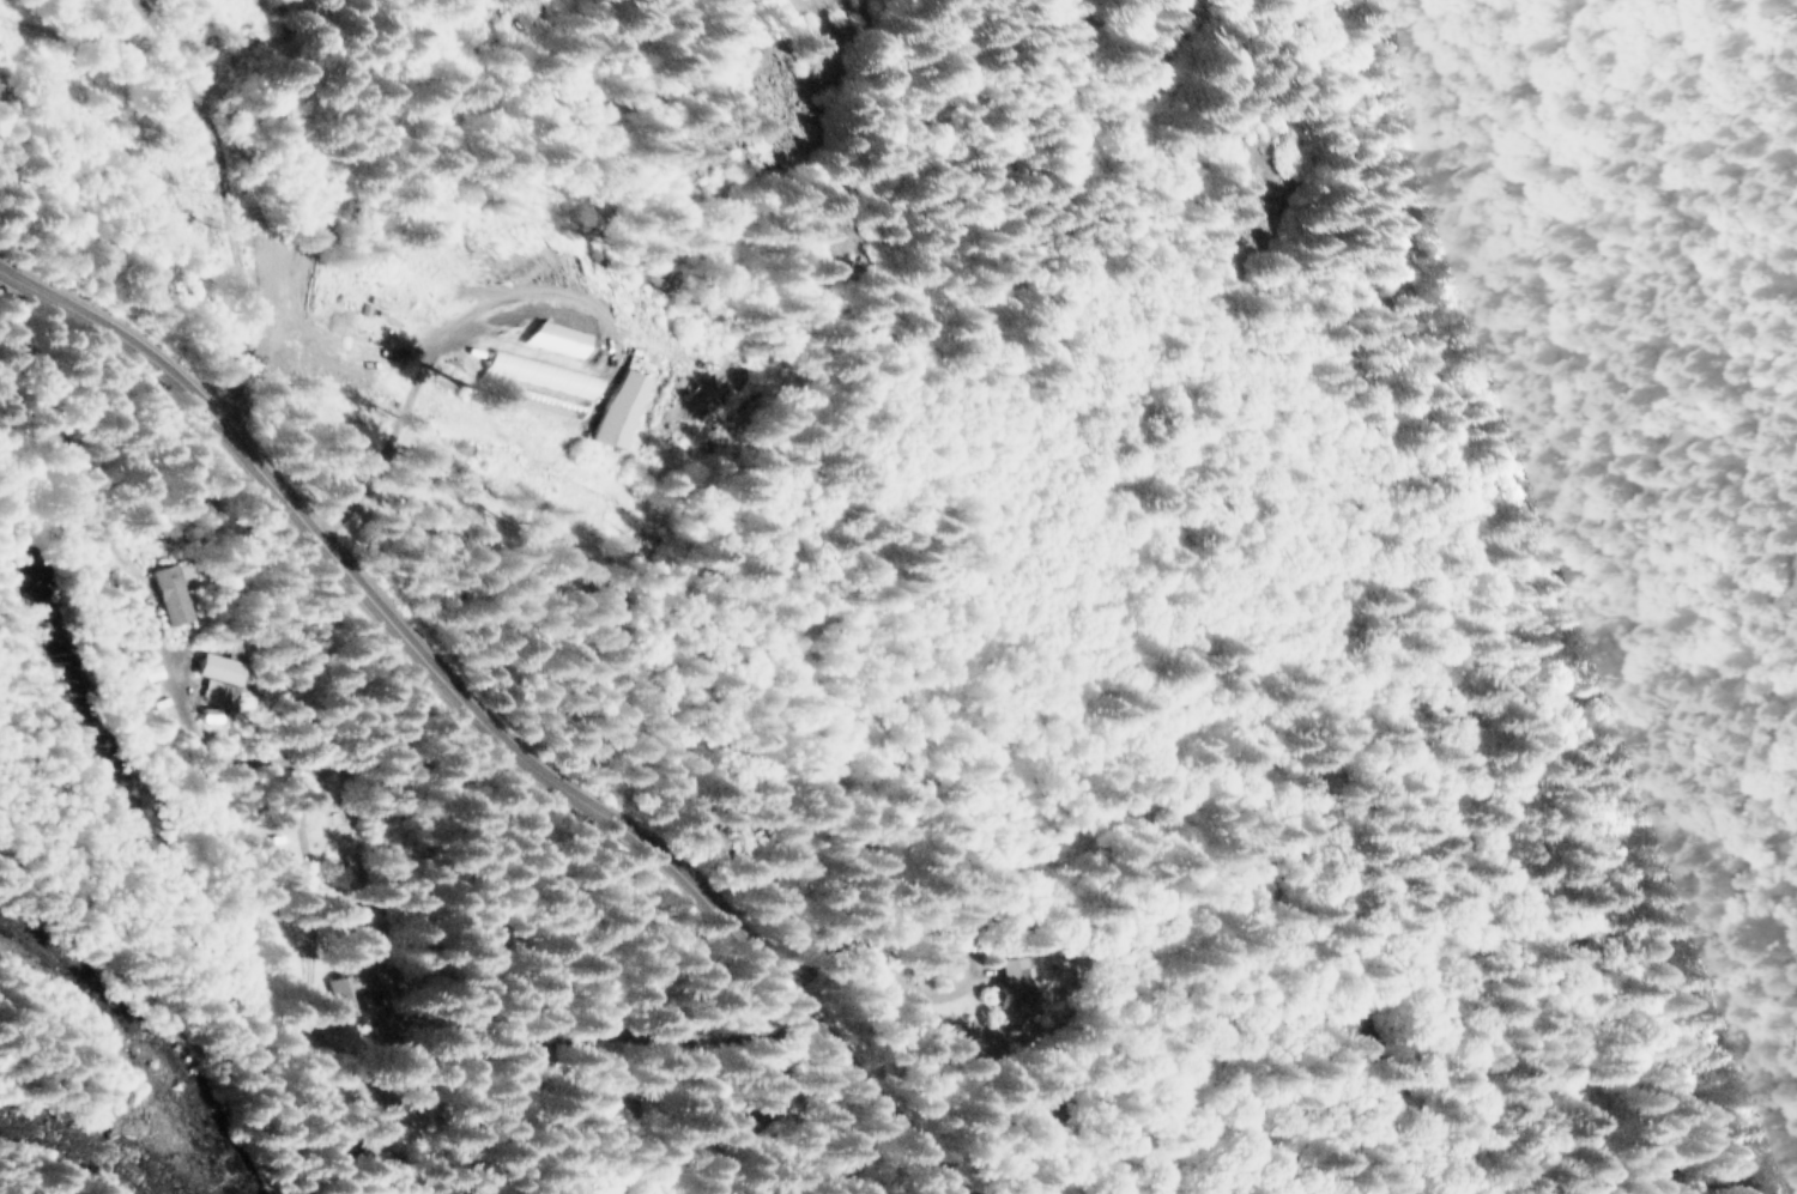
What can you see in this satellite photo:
building: (570, 339)
road: (455, 360)
building: (547, 380)
building: (615, 390)
building: (170, 592)
building: (218, 677)
road: (177, 687)
road: (498, 727)
road: (913, 959)
building: (1048, 982)
building: (347, 988)
road: (568, 1036)
river: (108, 1101)
building: (368, 1135)

